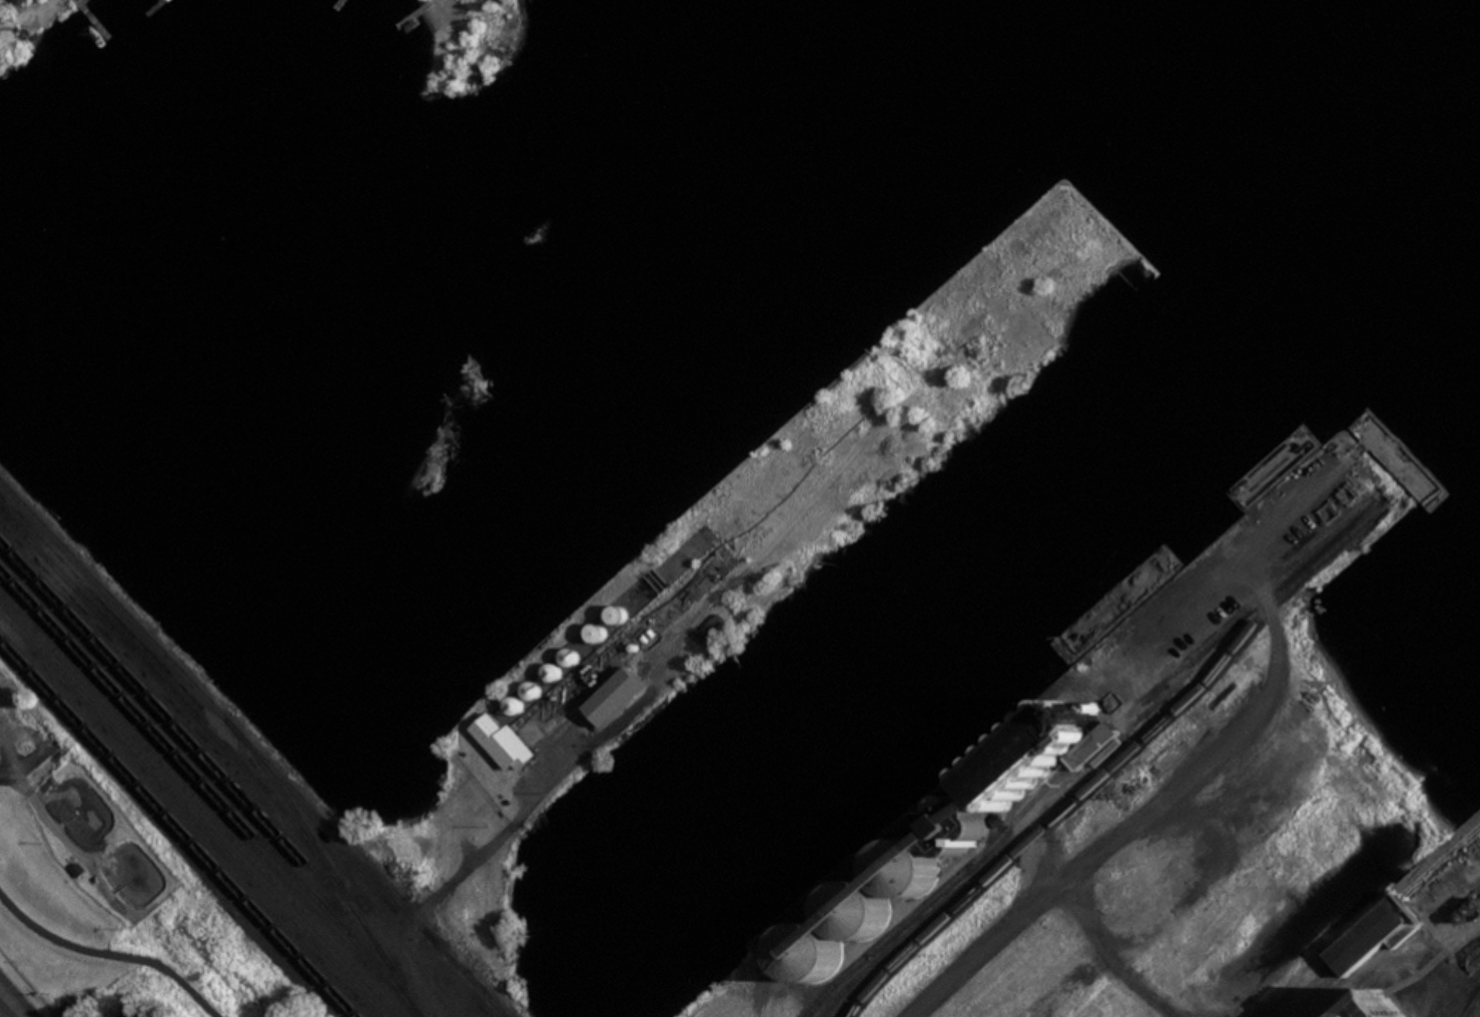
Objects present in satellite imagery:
building: (7, 1)
pier: (343, 9)
pier: (747, 552)
railway: (159, 662)
railway: (189, 733)
railway: (256, 742)
road: (47, 751)
railway: (1085, 752)
railway: (228, 753)
railway: (1119, 762)
railway: (208, 781)
pier: (1102, 789)
railway: (202, 804)
railway: (195, 812)
road: (1147, 813)
railway: (189, 818)
railway: (316, 826)
road: (503, 831)
pier: (1335, 906)
building: (1367, 936)
park: (128, 943)
railway: (892, 944)
road: (114, 953)
road: (3, 990)
road: (3, 993)
road: (15, 1006)
road: (1470, 1007)
road: (71, 1016)

